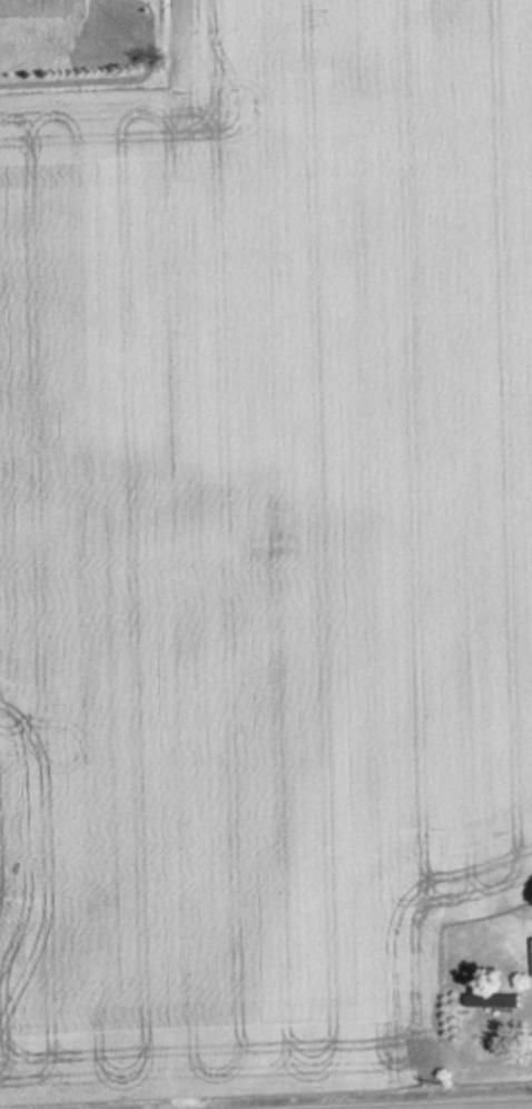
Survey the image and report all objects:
building: (486, 997)
road: (447, 1105)

